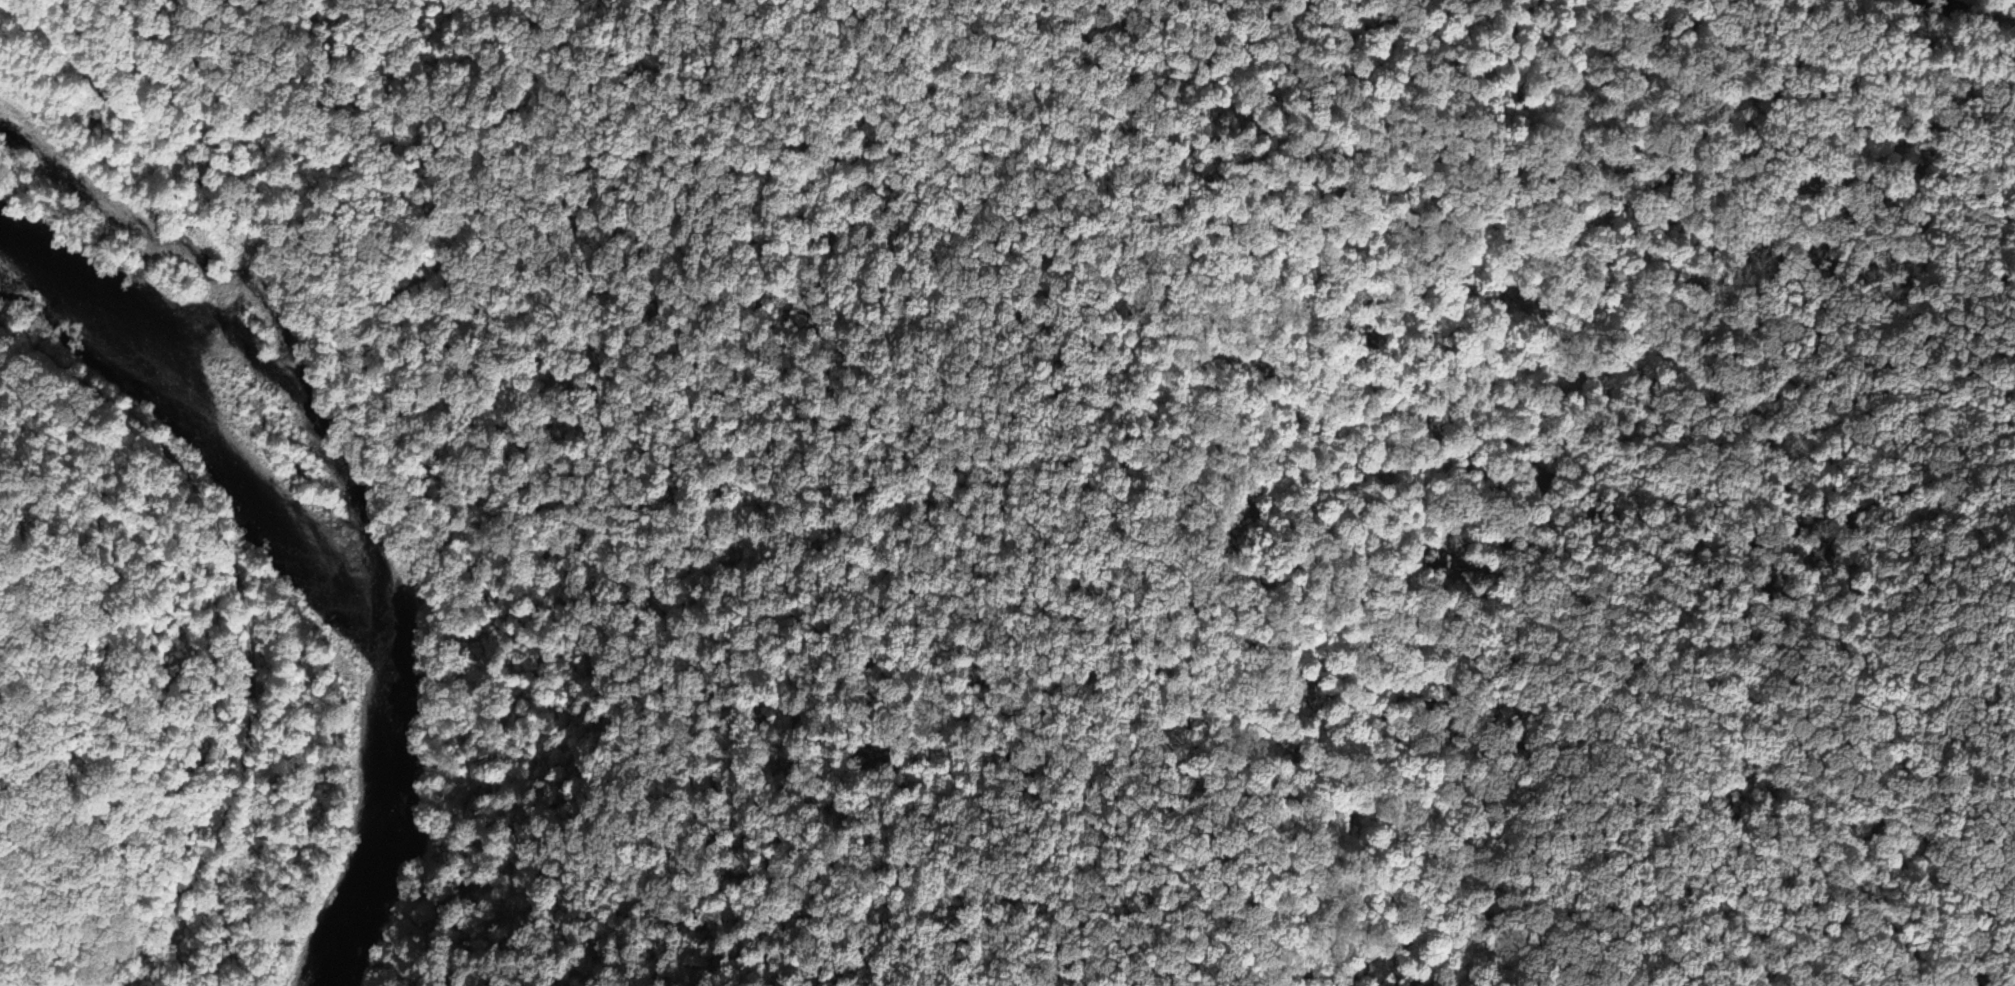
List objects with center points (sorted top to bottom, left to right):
river: (319, 575)
road: (236, 635)

